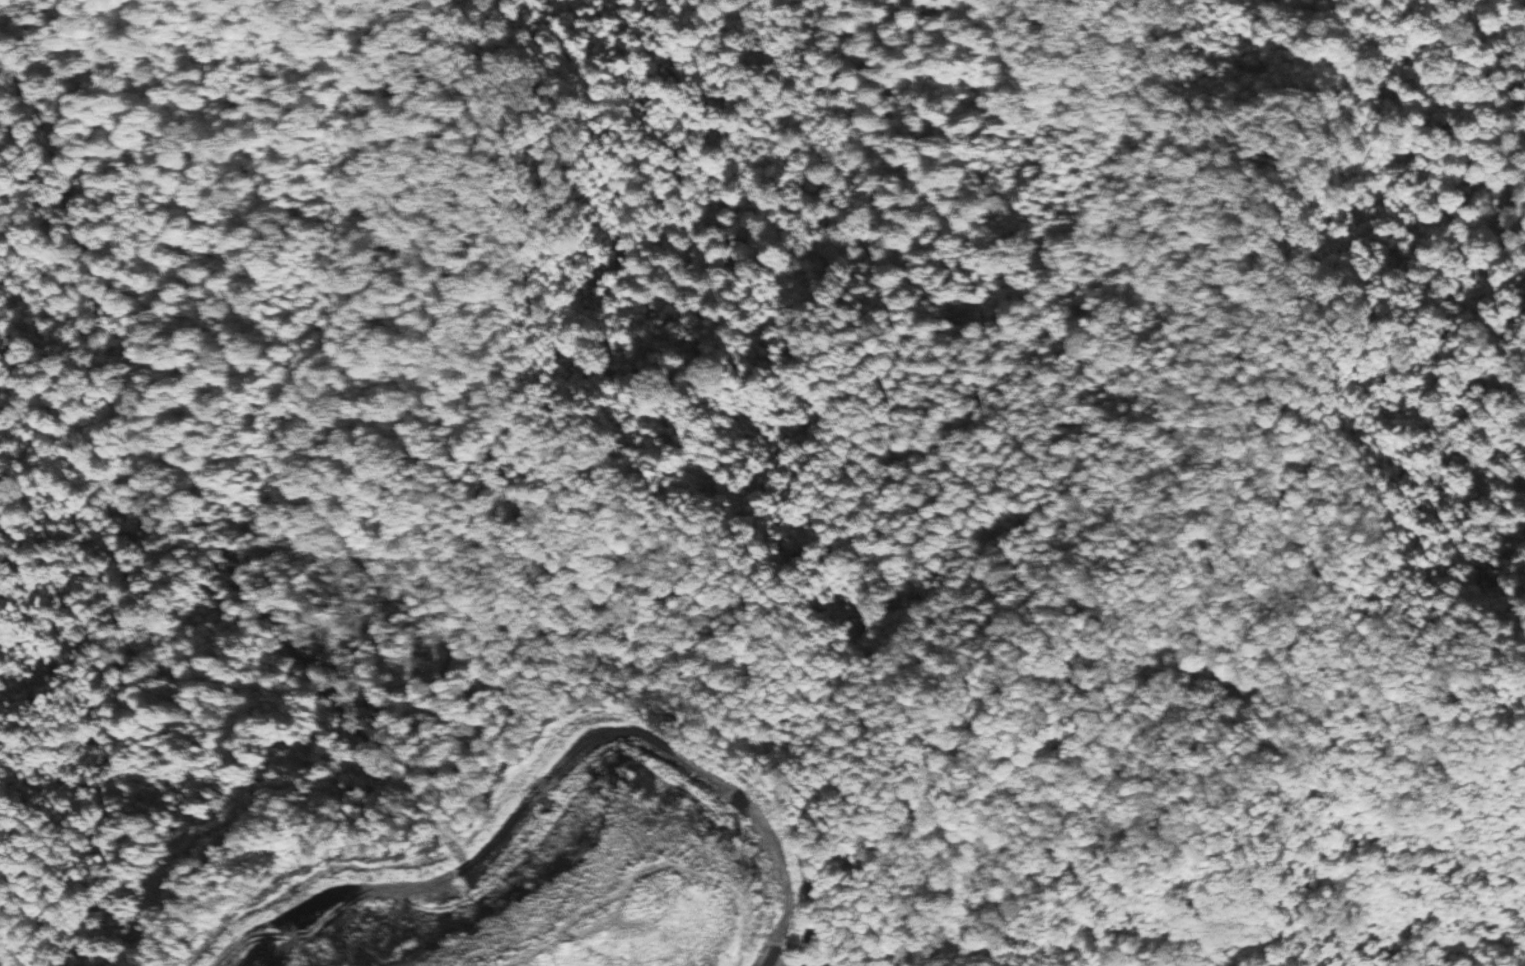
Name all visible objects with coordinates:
quarry: (538, 893)

